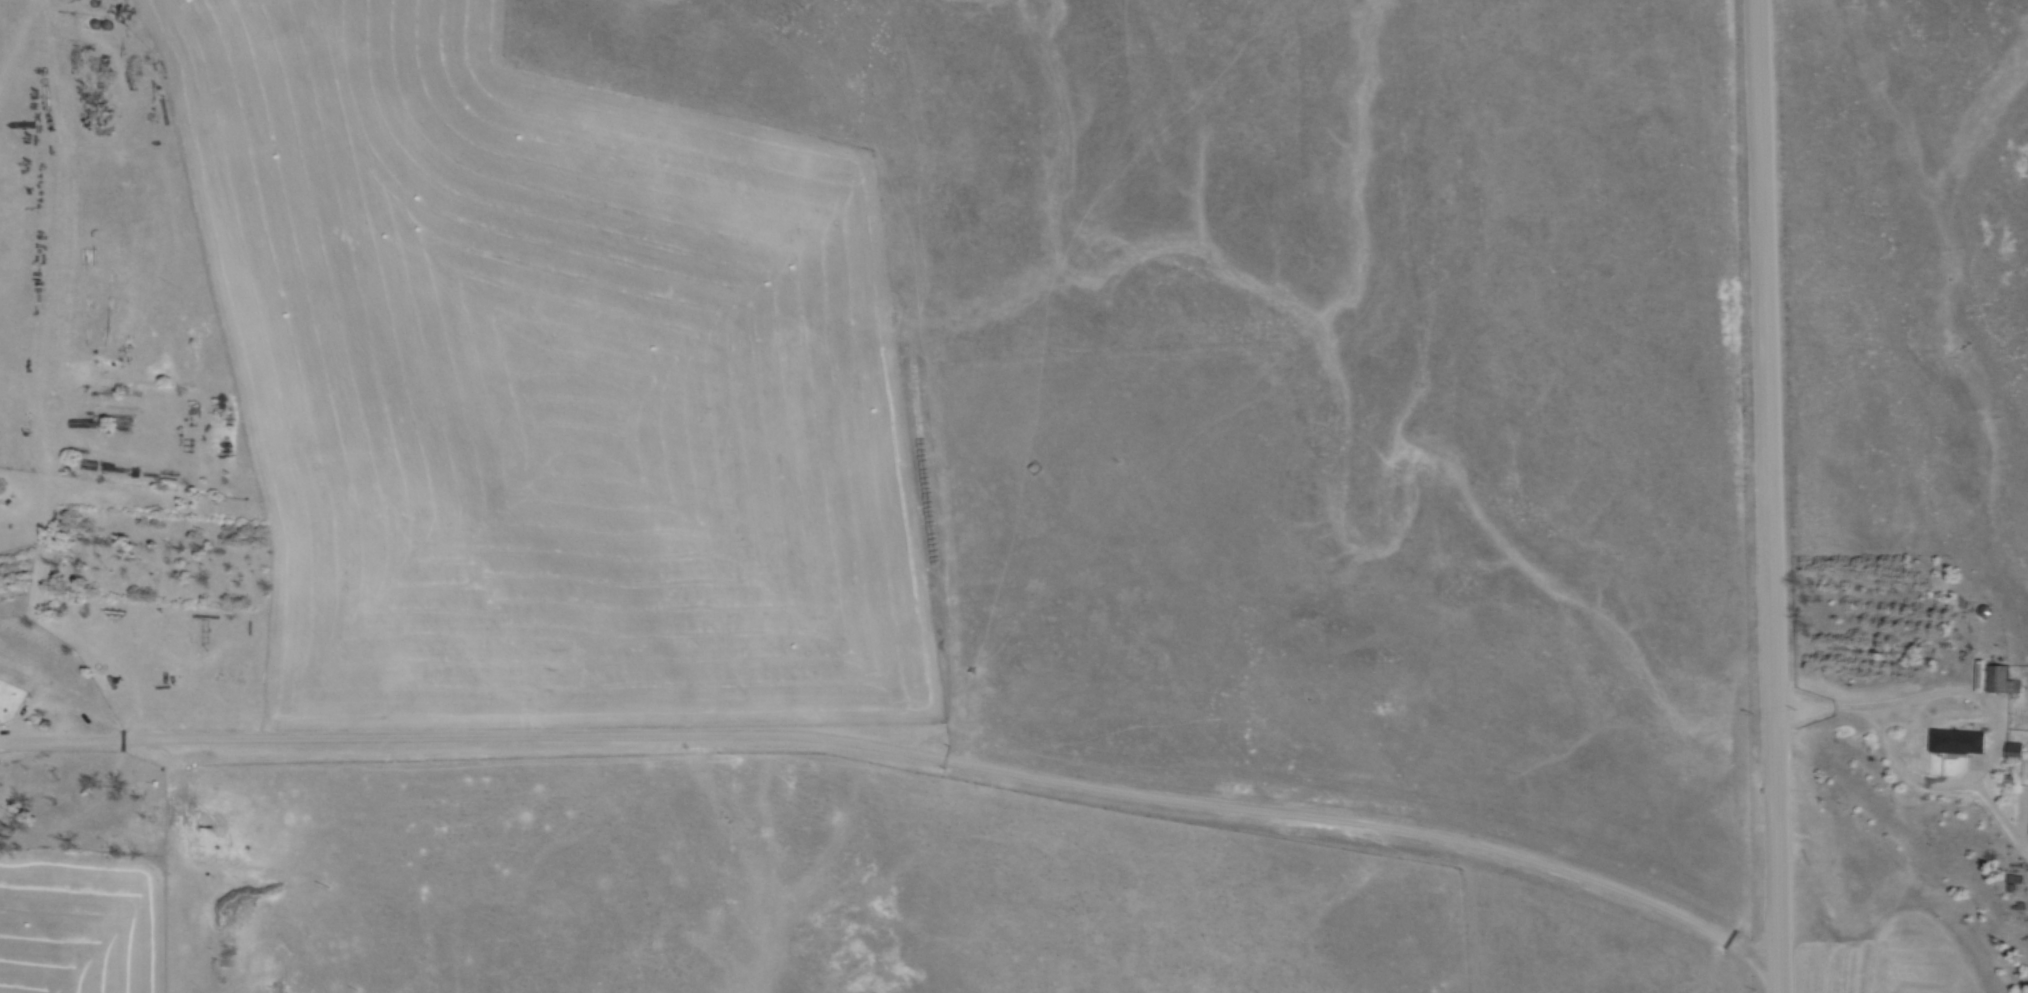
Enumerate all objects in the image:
road: (1773, 496)
building: (2003, 678)
road: (1828, 715)
road: (1997, 731)
building: (1963, 738)
road: (36, 742)
building: (2018, 748)
road: (948, 763)

